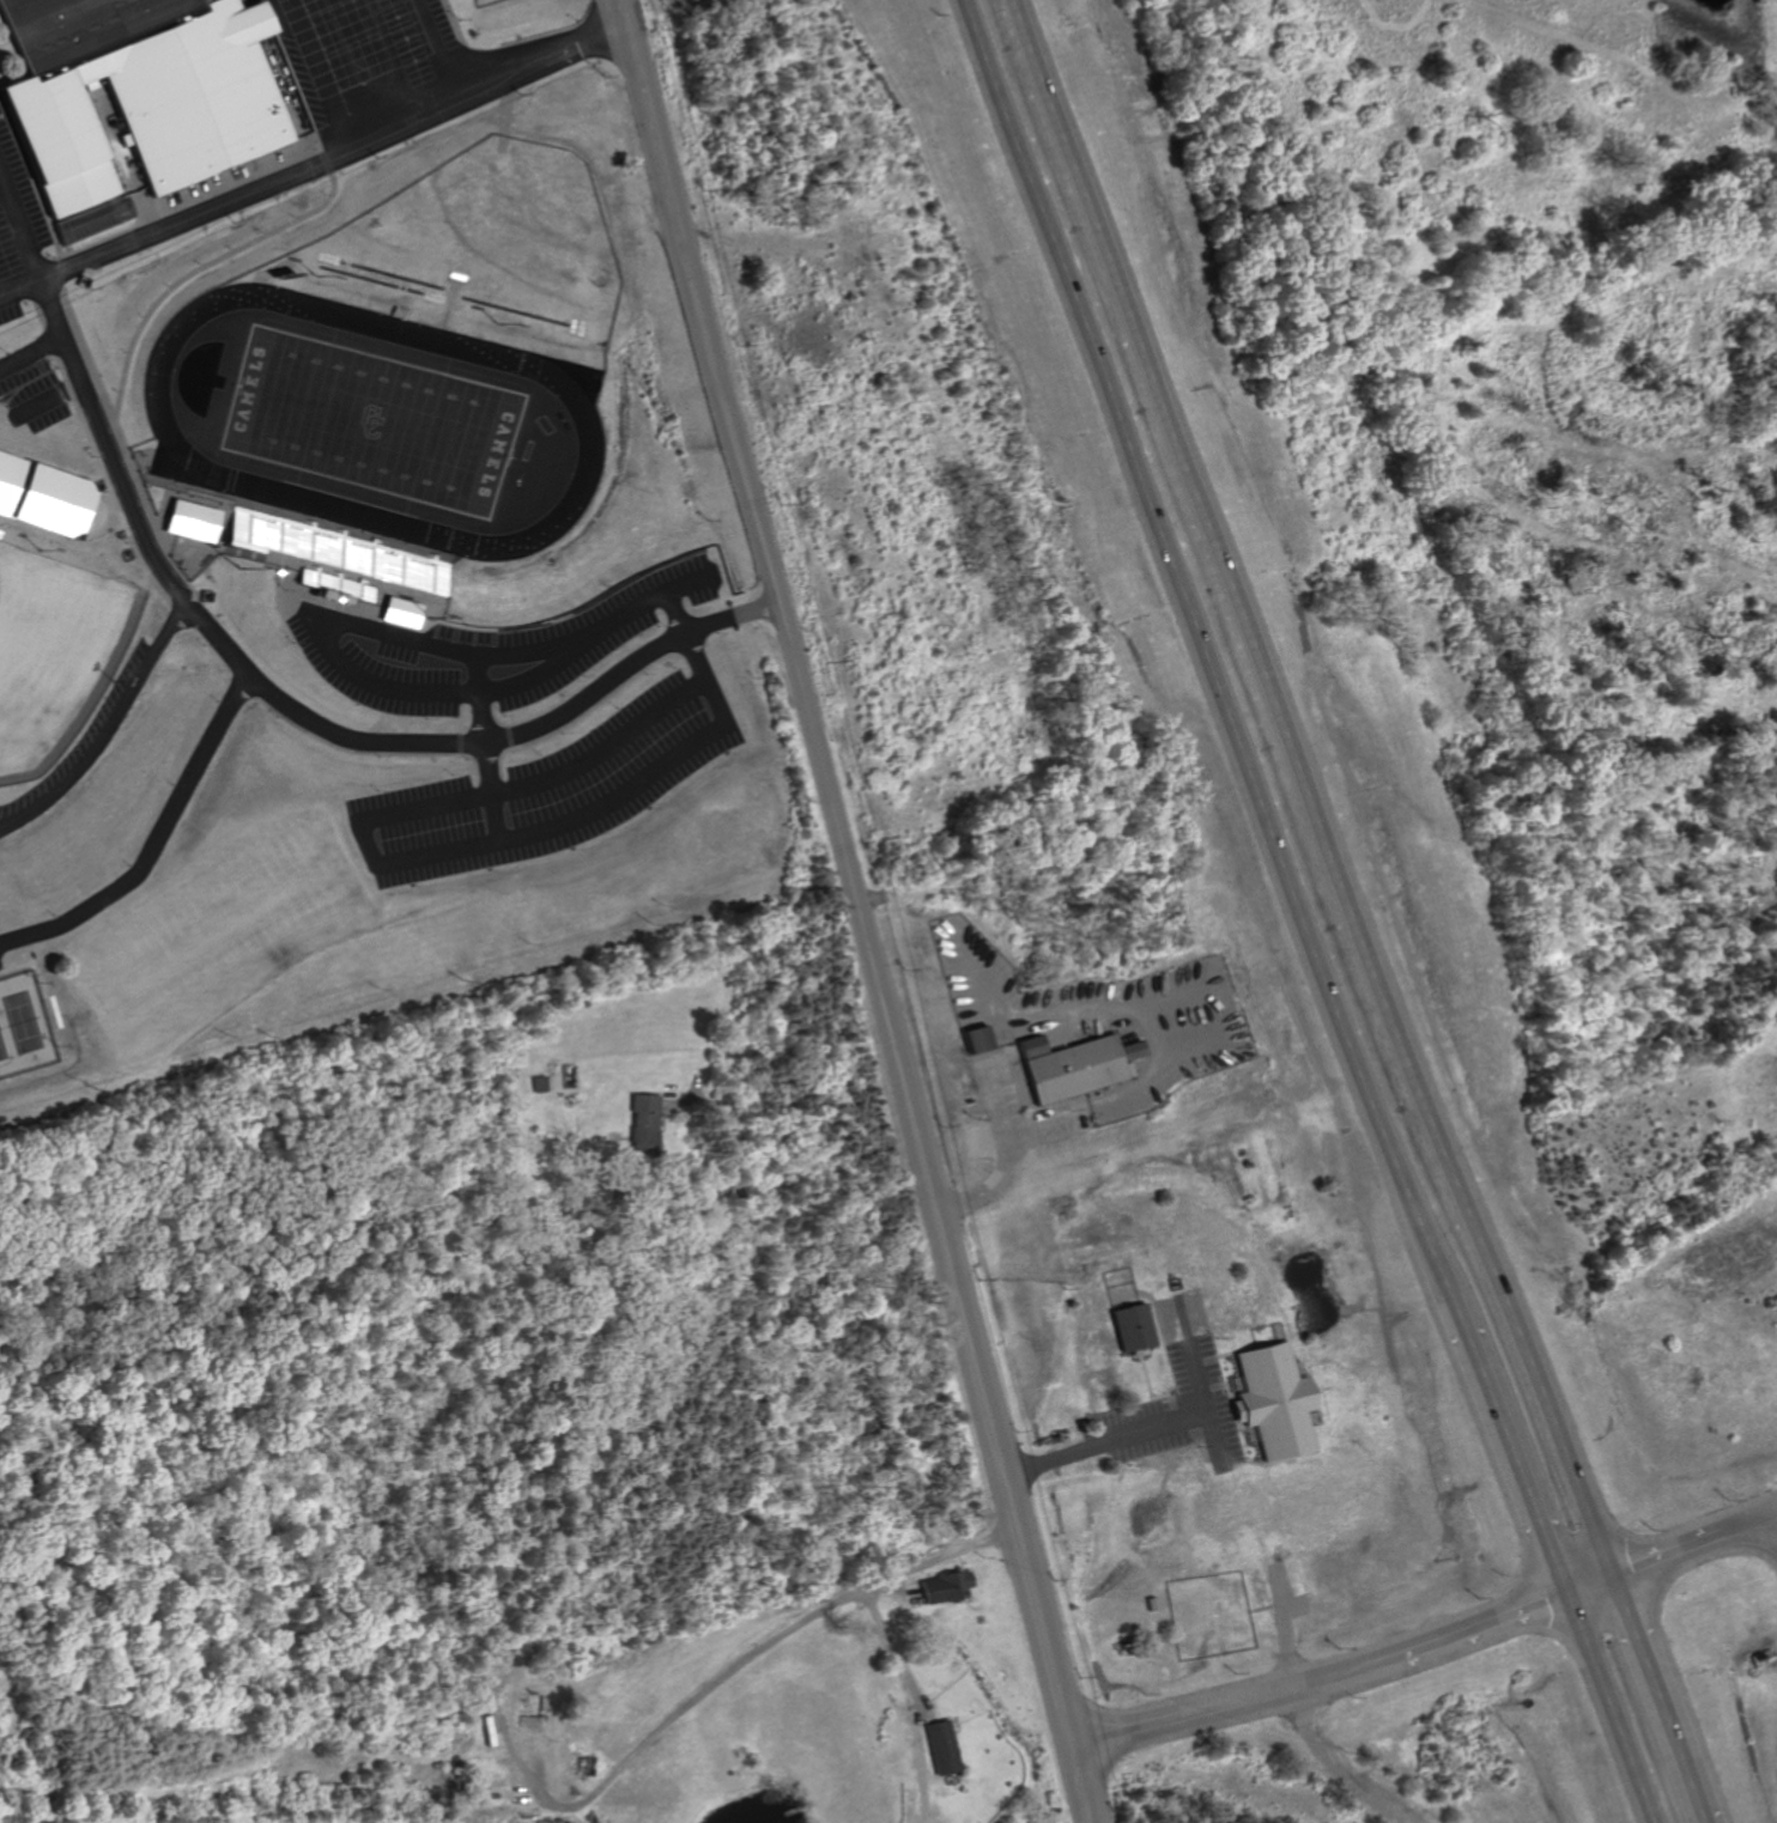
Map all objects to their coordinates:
road: (614, 16)
road: (577, 40)
road: (429, 50)
road: (309, 75)
building: (131, 96)
road: (647, 135)
road: (272, 180)
track: (375, 269)
track: (371, 281)
flagpole: (400, 306)
track: (516, 311)
road: (29, 348)
track: (558, 387)
road: (42, 399)
park: (370, 420)
park: (370, 420)
building: (40, 496)
building: (186, 519)
road: (140, 540)
building: (330, 560)
building: (394, 612)
road: (1196, 646)
stadium: (55, 654)
park: (50, 658)
road: (812, 758)
road: (1305, 789)
park: (217, 930)
building: (970, 1040)
building: (1066, 1070)
building: (627, 1125)
road: (989, 1184)
road: (759, 1259)
building: (1132, 1327)
road: (1227, 1341)
road: (978, 1372)
building: (1272, 1403)
road: (1500, 1446)
road: (1213, 1467)
road: (1007, 1485)
road: (1771, 1524)
road: (1751, 1529)
road: (1663, 1558)
building: (945, 1587)
road: (1582, 1590)
road: (1041, 1622)
road: (1466, 1633)
road: (768, 1643)
road: (896, 1647)
road: (1288, 1690)
road: (1651, 1702)
road: (1603, 1709)
road: (1138, 1725)
building: (940, 1745)
road: (1081, 1781)

